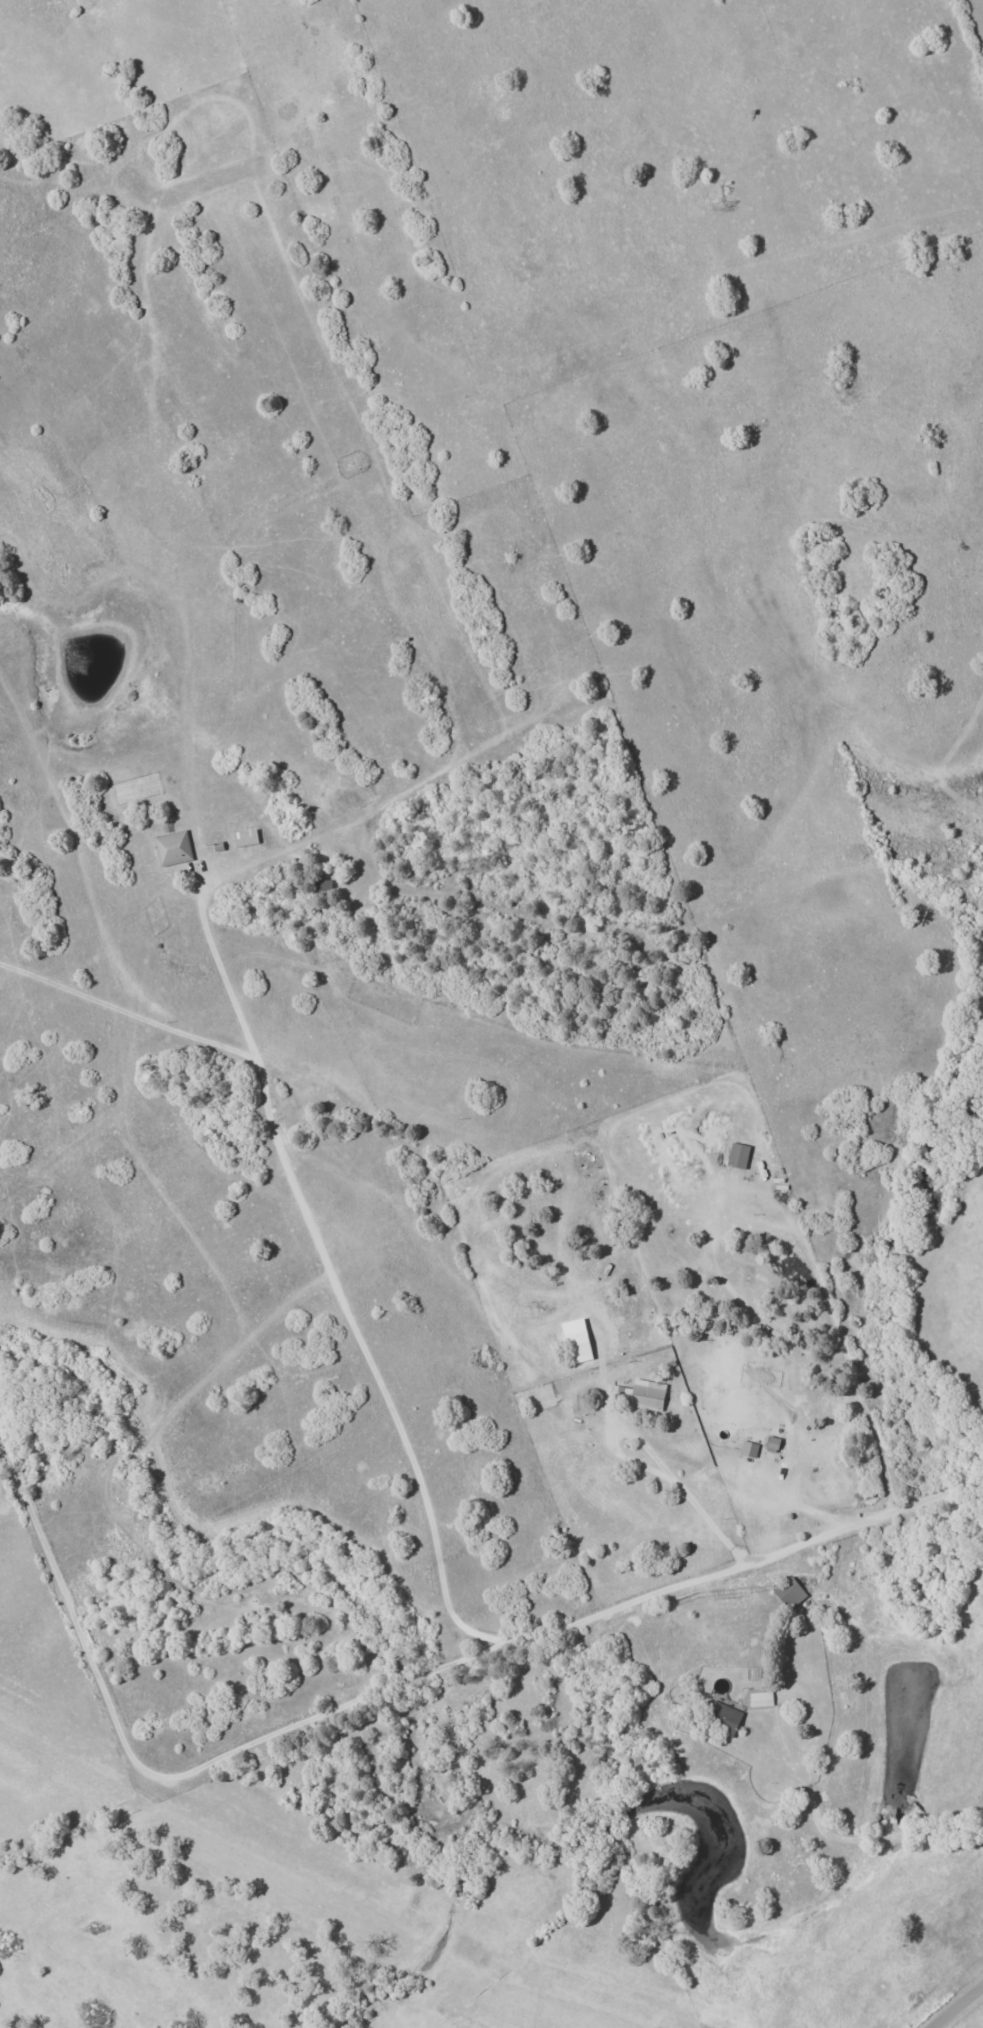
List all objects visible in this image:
road: (424, 517)
building: (172, 848)
road: (753, 982)
road: (224, 987)
building: (737, 1156)
road: (314, 1245)
building: (639, 1395)
building: (735, 1411)
building: (771, 1445)
building: (748, 1449)
road: (656, 1460)
road: (794, 1506)
building: (789, 1593)
road: (391, 1690)
building: (760, 1700)
building: (723, 1715)
road: (844, 1845)
road: (957, 2006)

